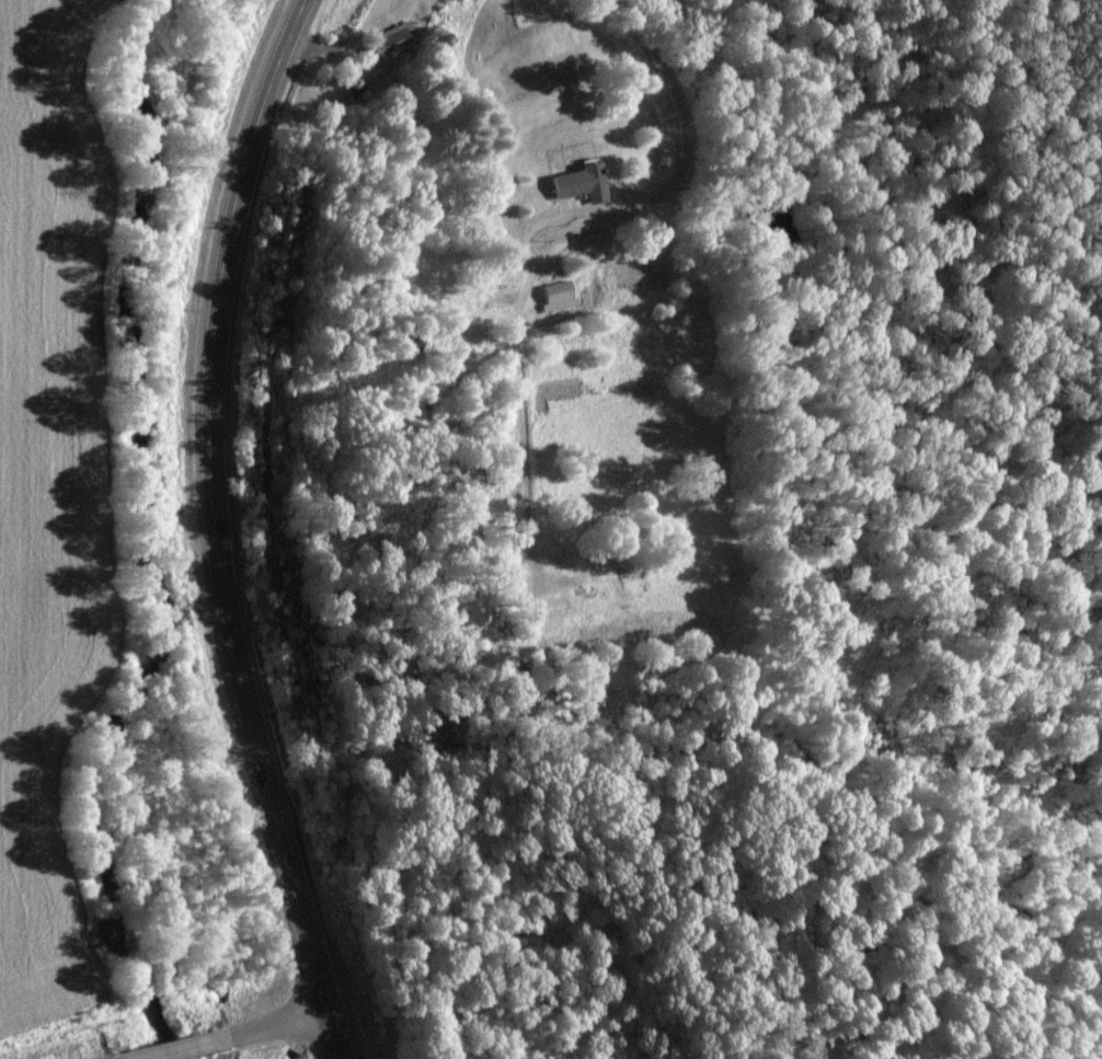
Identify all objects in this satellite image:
building: (390, 38)
building: (578, 182)
road: (668, 186)
building: (558, 295)
road: (214, 529)

